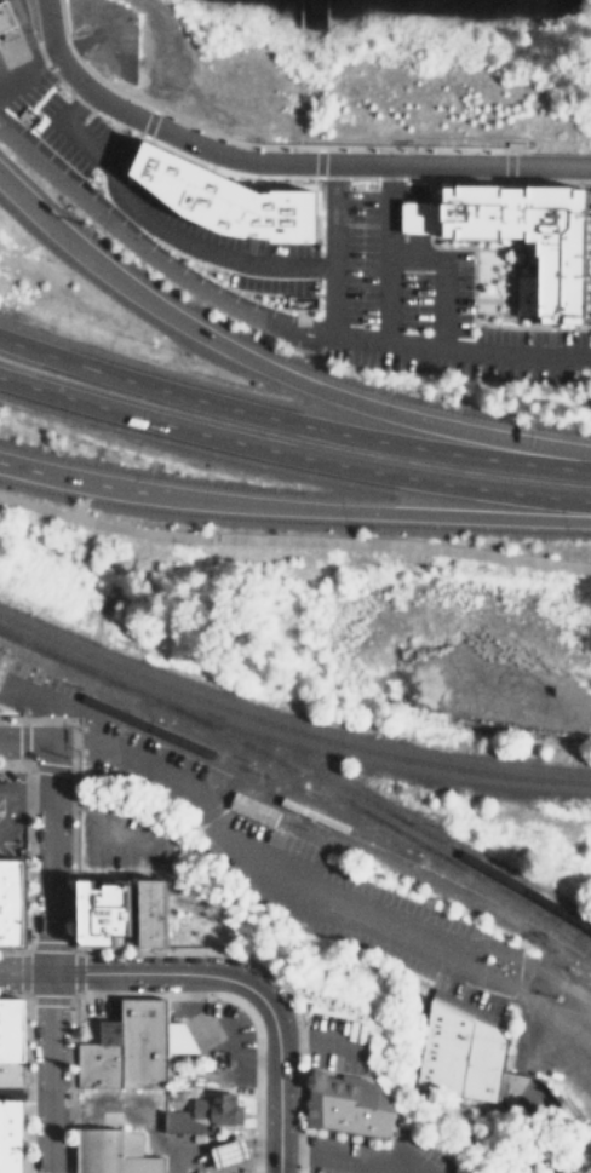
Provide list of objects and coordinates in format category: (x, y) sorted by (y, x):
park: (585, 7)
building: (5, 17)
gas station: (5, 17)
road: (24, 73)
park: (361, 81)
road: (240, 146)
road: (499, 162)
road: (275, 163)
road: (545, 173)
building: (230, 191)
building: (432, 205)
road: (425, 219)
road: (145, 228)
building: (567, 246)
road: (327, 252)
flagpole: (527, 254)
road: (380, 255)
flagpole: (527, 257)
flagpole: (527, 259)
road: (147, 268)
road: (114, 277)
road: (431, 278)
road: (486, 286)
road: (492, 311)
road: (452, 350)
road: (585, 355)
road: (414, 418)
road: (291, 421)
road: (292, 454)
road: (185, 495)
road: (483, 514)
road: (293, 539)
railway: (0, 651)
building: (1, 655)
road: (59, 703)
road: (50, 721)
railway: (287, 728)
road: (24, 742)
railway: (236, 767)
railway: (302, 777)
road: (28, 790)
road: (7, 810)
parking lot: (8, 811)
building: (247, 812)
road: (99, 820)
parking lot: (119, 840)
parking lot: (274, 862)
railway: (444, 875)
road: (314, 889)
railway: (516, 892)
building: (11, 898)
building: (103, 909)
building: (150, 910)
road: (48, 956)
road: (128, 972)
parking lot: (469, 991)
parking lot: (217, 1034)
building: (177, 1036)
building: (138, 1039)
road: (319, 1039)
building: (11, 1041)
parking lot: (337, 1041)
building: (97, 1064)
building: (478, 1069)
road: (277, 1077)
road: (423, 1103)
building: (343, 1104)
building: (199, 1115)
building: (10, 1135)
road: (556, 1148)
building: (98, 1150)
building: (229, 1152)
gas station: (229, 1152)
parking lot: (375, 1154)
road: (346, 1156)
building: (142, 1163)

